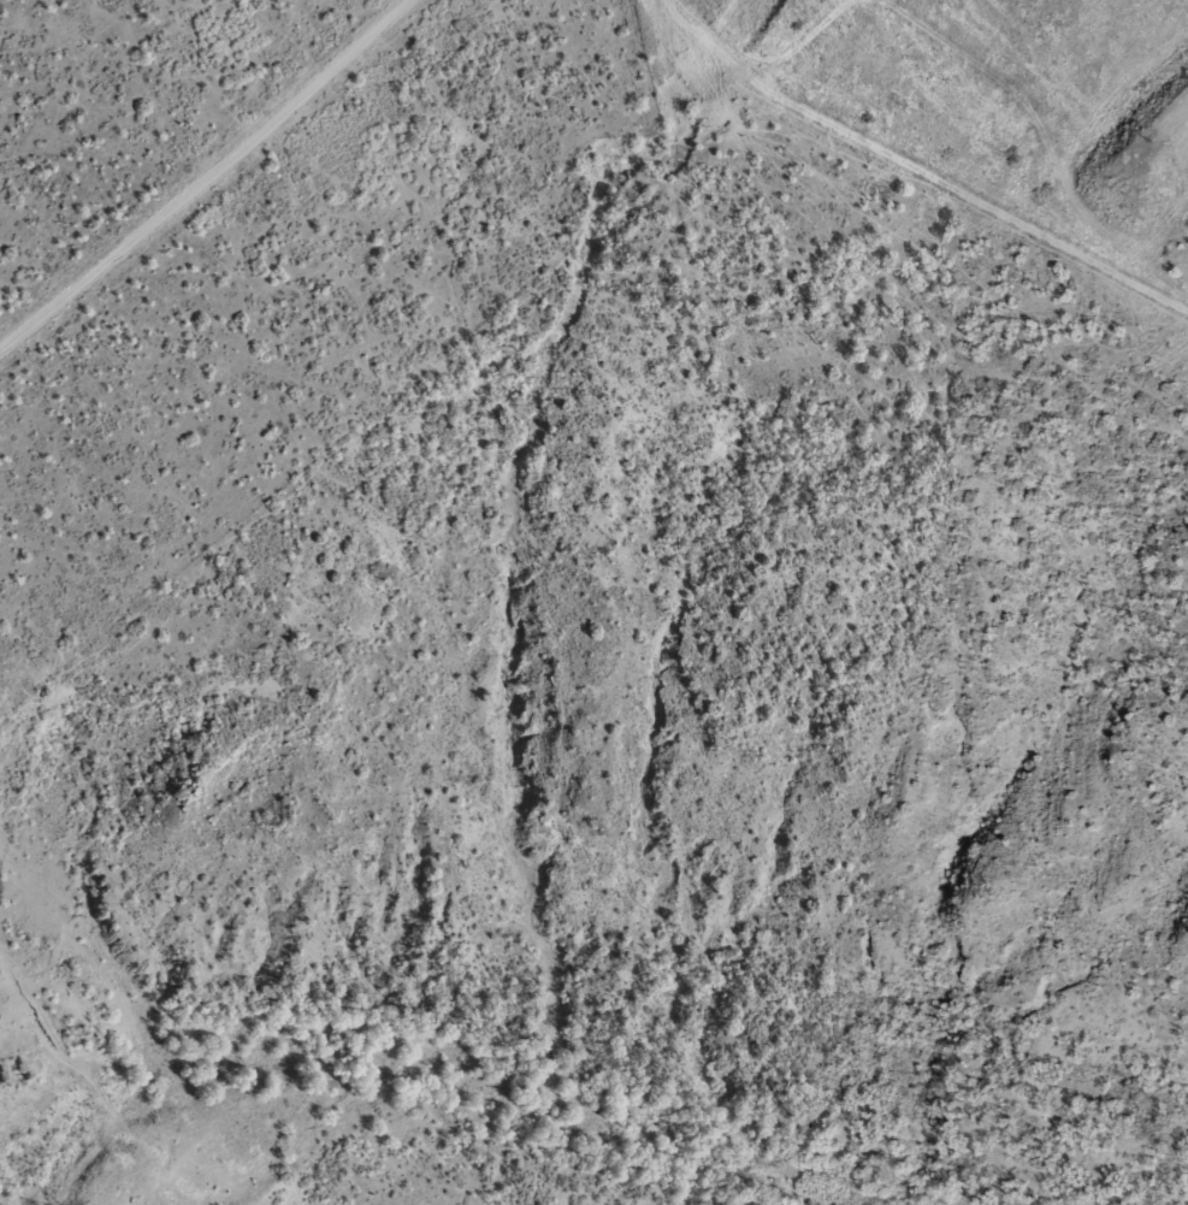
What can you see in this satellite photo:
road: (894, 199)

